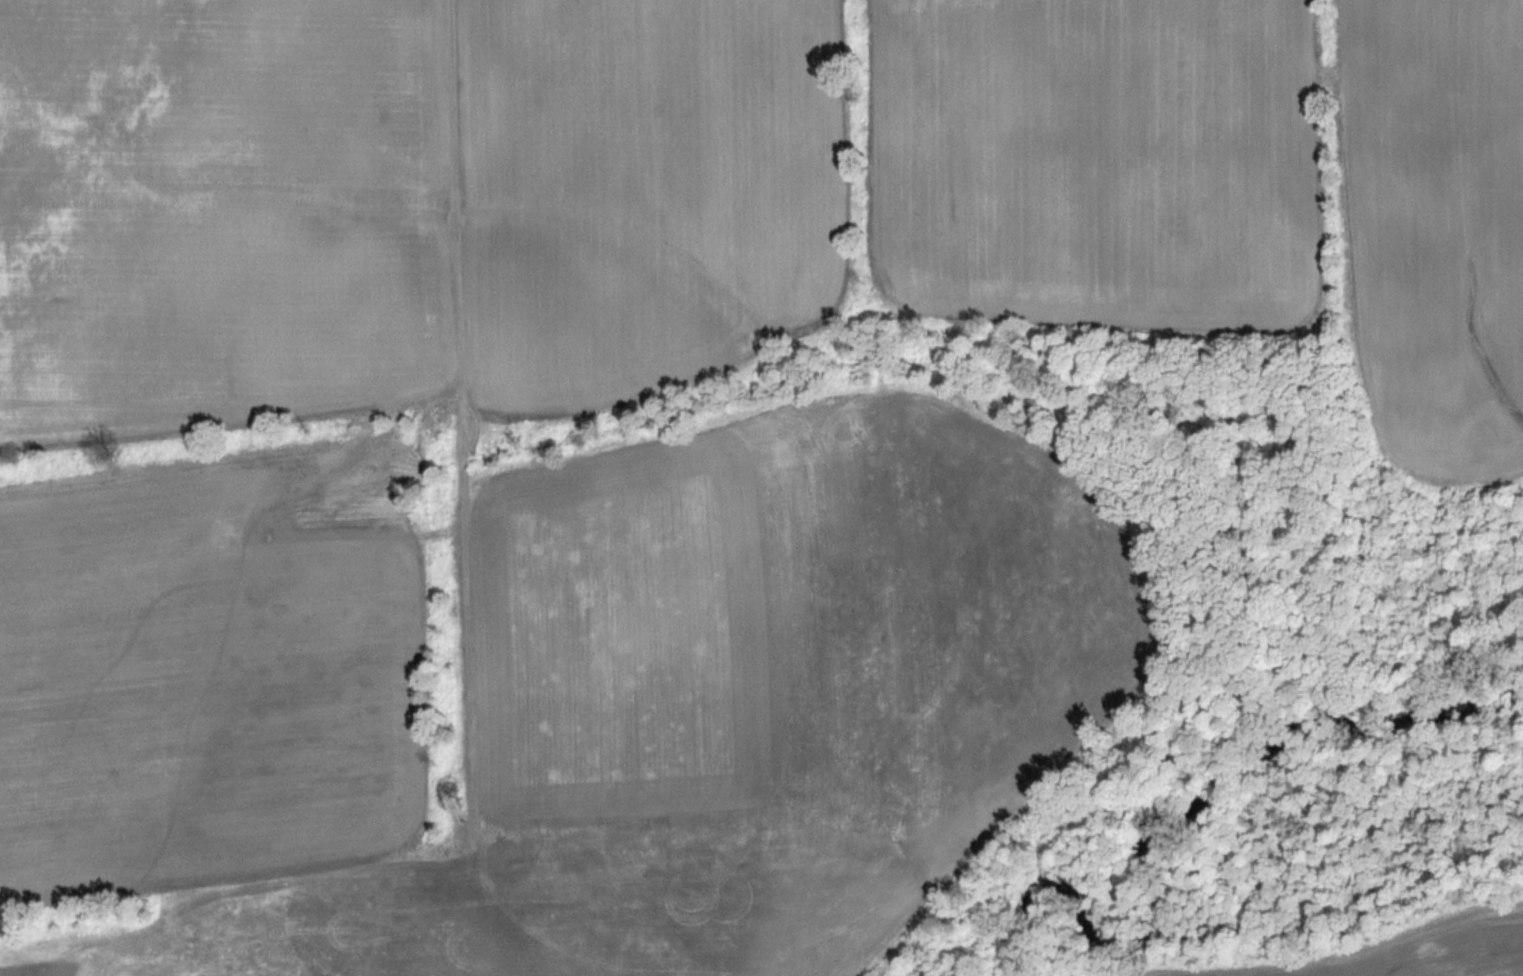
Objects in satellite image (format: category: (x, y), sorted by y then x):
crop: (1097, 162)
crop: (641, 194)
crop: (217, 212)
crop: (1436, 230)
crop: (562, 698)
crop: (1405, 953)

